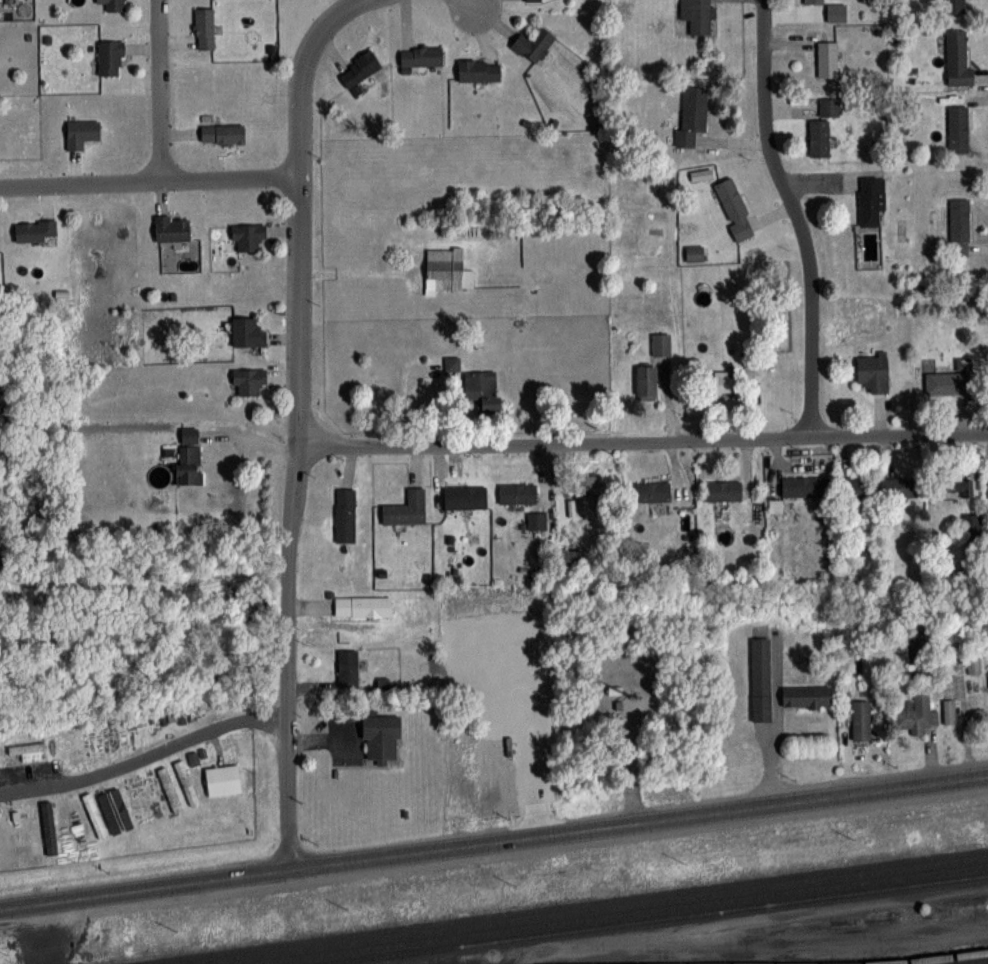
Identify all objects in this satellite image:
building: (813, 1)
building: (113, 5)
road: (471, 5)
building: (954, 6)
building: (836, 12)
building: (697, 15)
building: (203, 29)
building: (533, 43)
building: (419, 56)
building: (110, 58)
building: (826, 58)
building: (957, 58)
building: (359, 69)
building: (478, 69)
road: (153, 90)
building: (829, 106)
building: (692, 115)
building: (958, 128)
building: (81, 133)
building: (222, 133)
building: (819, 137)
road: (147, 181)
building: (871, 200)
building: (734, 209)
road: (294, 210)
road: (793, 216)
building: (959, 226)
building: (171, 229)
building: (35, 230)
building: (247, 236)
building: (694, 253)
building: (446, 268)
building: (247, 332)
building: (661, 343)
building: (451, 363)
building: (873, 371)
building: (646, 380)
building: (249, 381)
building: (720, 382)
building: (948, 382)
building: (483, 389)
road: (642, 439)
building: (189, 455)
building: (955, 482)
building: (588, 483)
building: (802, 486)
building: (902, 486)
building: (652, 490)
building: (722, 490)
building: (517, 492)
building: (464, 496)
building: (855, 496)
building: (406, 508)
building: (345, 514)
building: (536, 520)
building: (569, 557)
building: (362, 605)
road: (283, 657)
building: (974, 664)
building: (348, 667)
building: (757, 680)
building: (806, 696)
building: (949, 710)
building: (915, 713)
building: (861, 719)
road: (772, 722)
building: (378, 736)
road: (142, 755)
building: (219, 779)
building: (186, 781)
building: (169, 788)
road: (494, 841)
railway: (586, 910)
railway: (619, 914)
railway: (657, 919)
railway: (931, 958)
railway: (976, 962)

